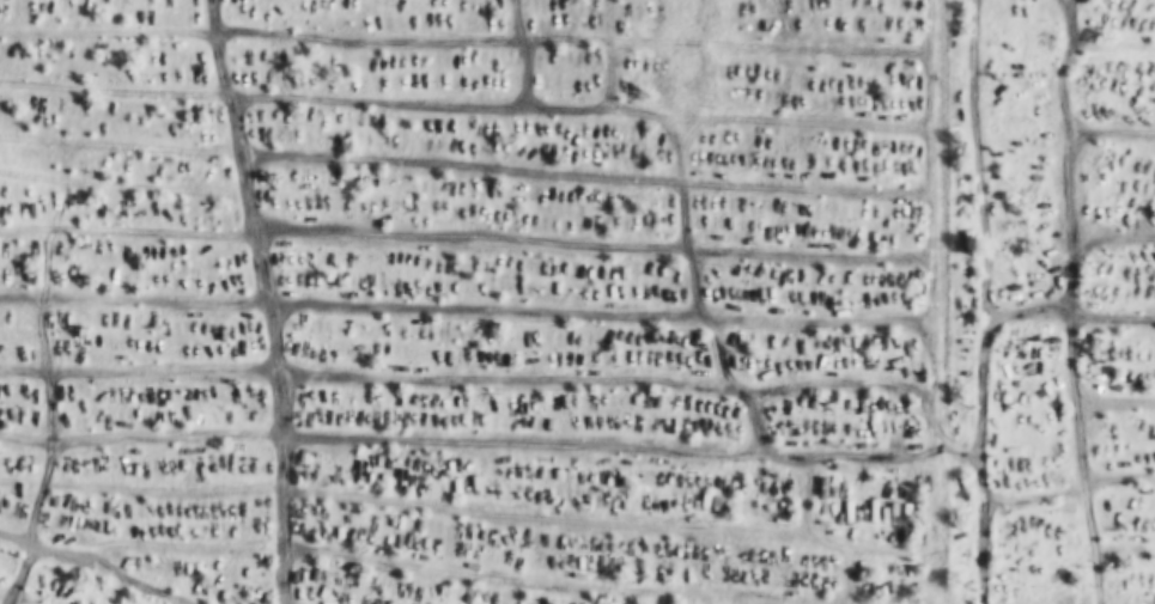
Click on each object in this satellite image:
road: (91, 562)

